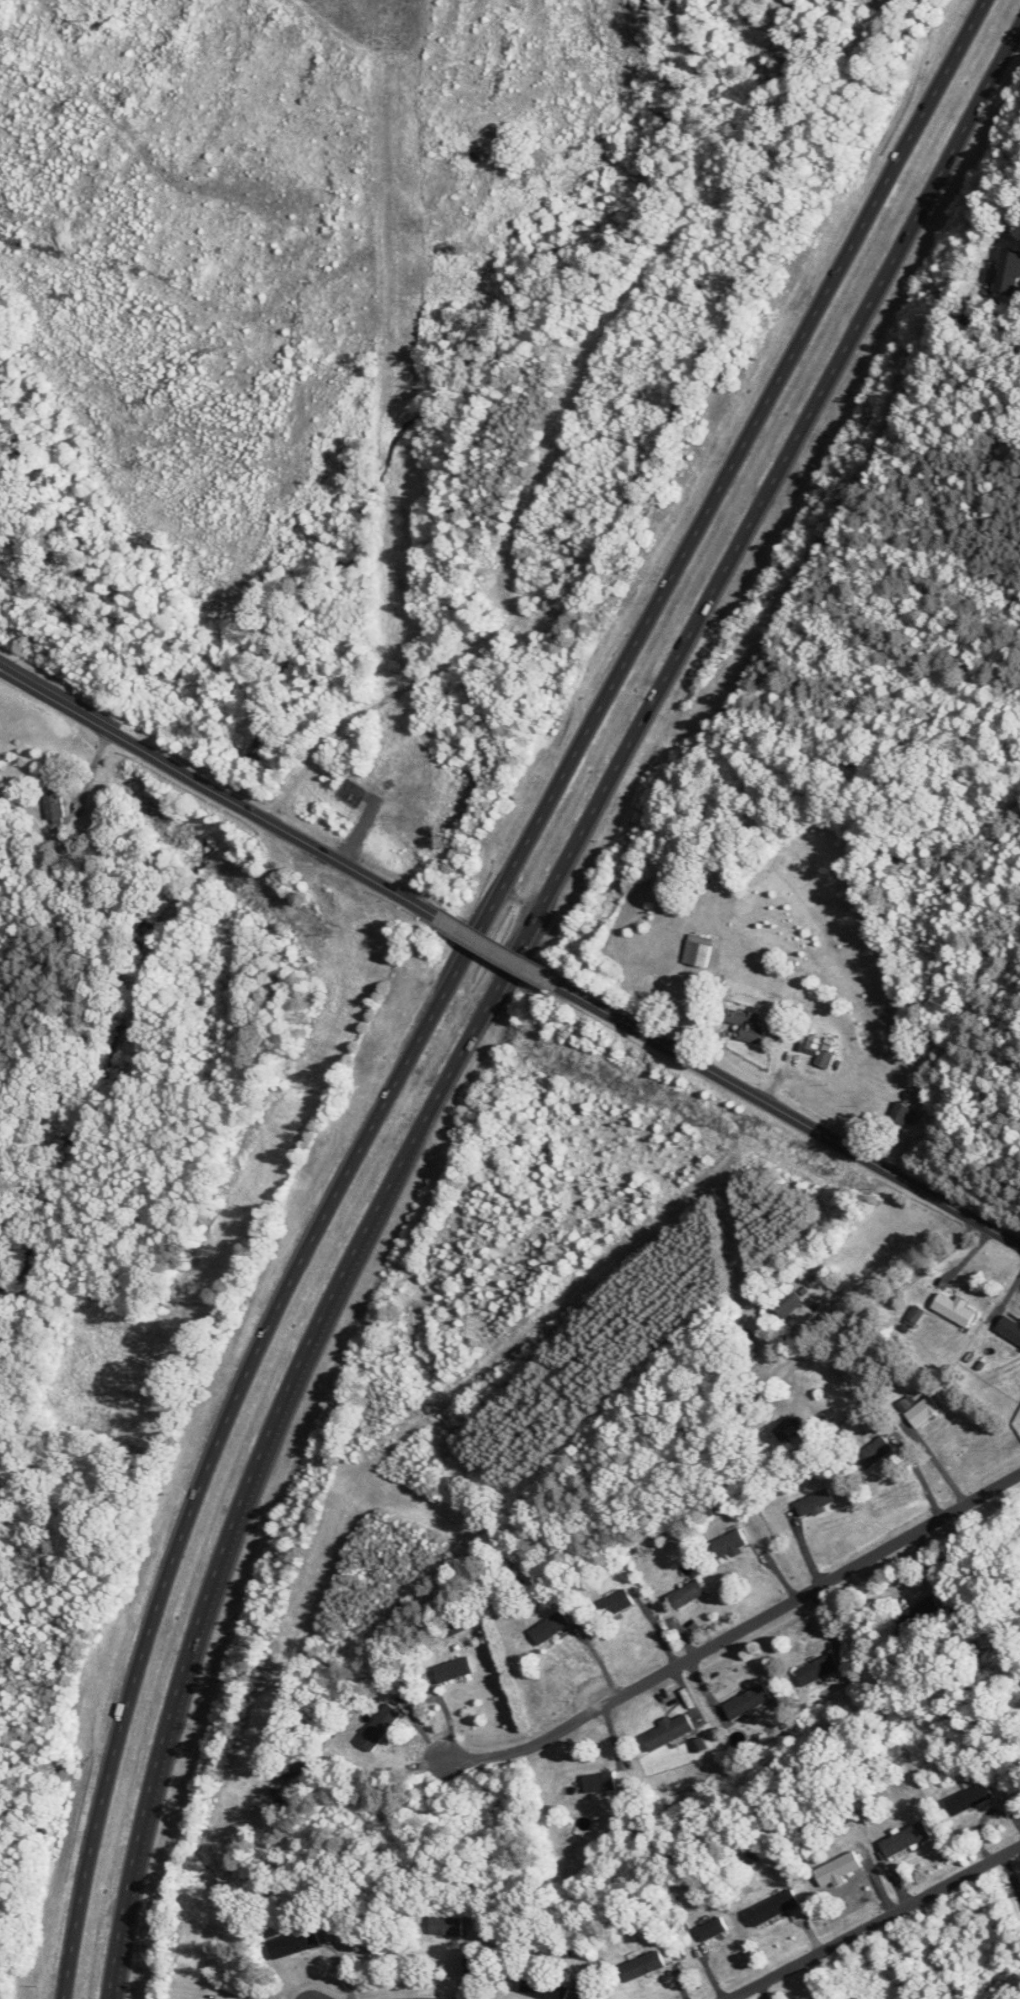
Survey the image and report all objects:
building: (1006, 272)
building: (739, 438)
road: (220, 787)
building: (54, 806)
road: (497, 951)
road: (451, 969)
road: (498, 985)
building: (746, 1026)
building: (820, 1056)
road: (789, 1115)
building: (901, 1116)
building: (787, 1302)
building: (953, 1309)
building: (914, 1316)
building: (1009, 1329)
building: (922, 1410)
building: (786, 1427)
building: (874, 1452)
road: (937, 1465)
building: (814, 1500)
building: (727, 1543)
building: (686, 1594)
building: (615, 1603)
building: (917, 1614)
building: (549, 1627)
road: (737, 1631)
building: (452, 1669)
building: (817, 1669)
building: (747, 1701)
building: (379, 1727)
building: (667, 1731)
building: (599, 1781)
building: (969, 1798)
building: (905, 1838)
building: (837, 1868)
building: (773, 1907)
road: (875, 1921)
building: (445, 1925)
building: (712, 1929)
building: (293, 1943)
building: (641, 1966)
building: (543, 1989)

